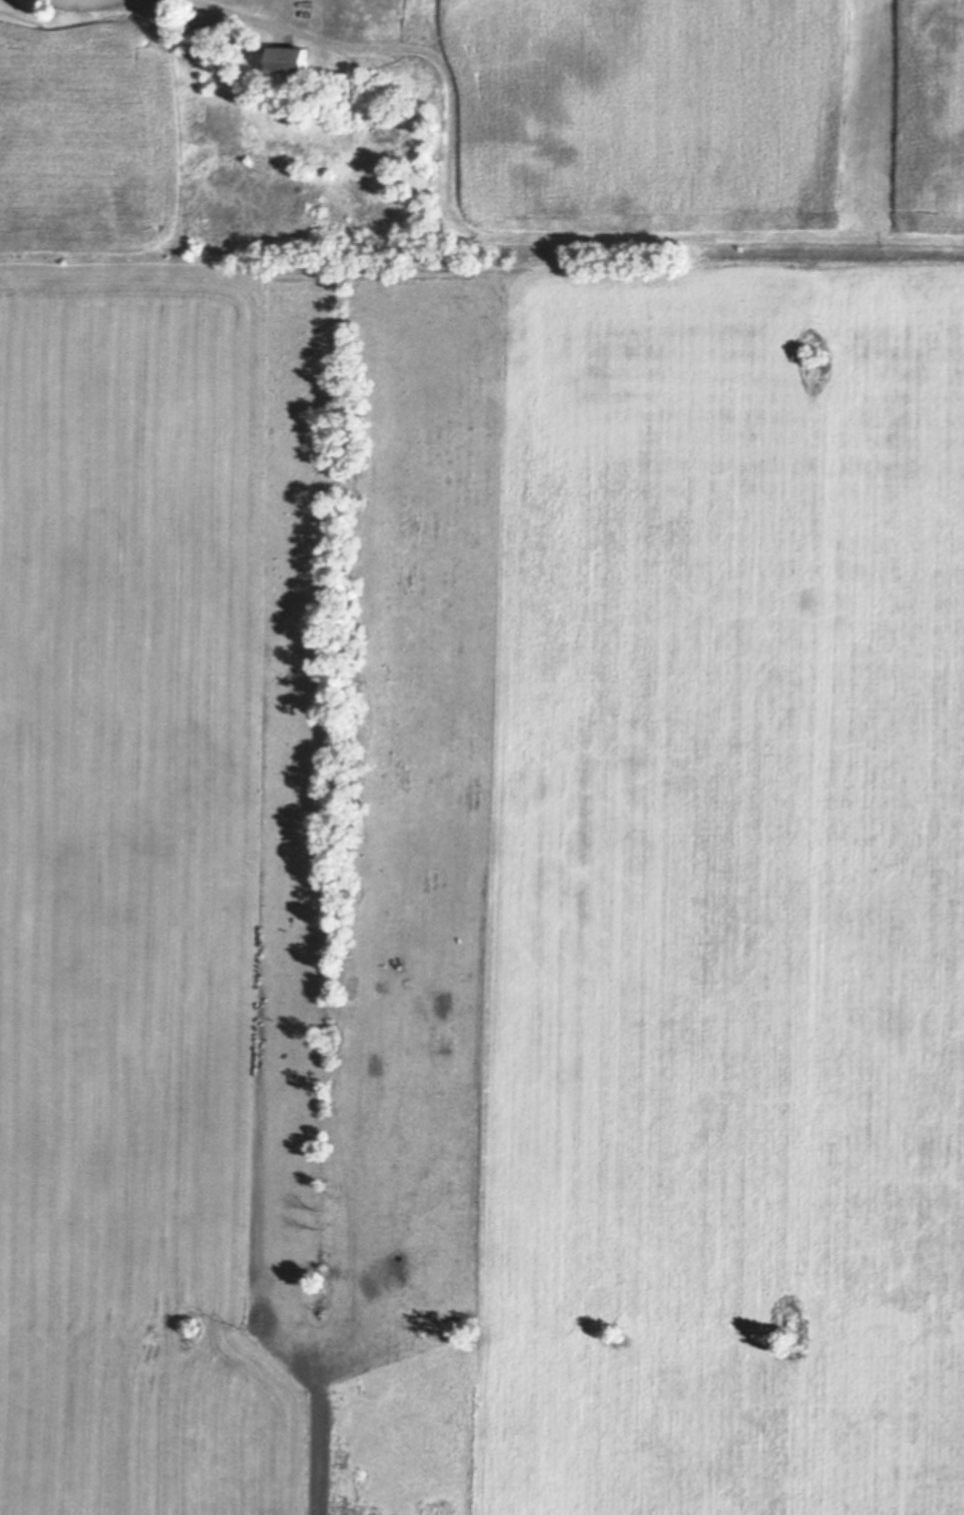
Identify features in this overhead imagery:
road: (88, 3)
road: (251, 20)
building: (210, 33)
building: (289, 68)
crop: (714, 128)
crop: (468, 865)

